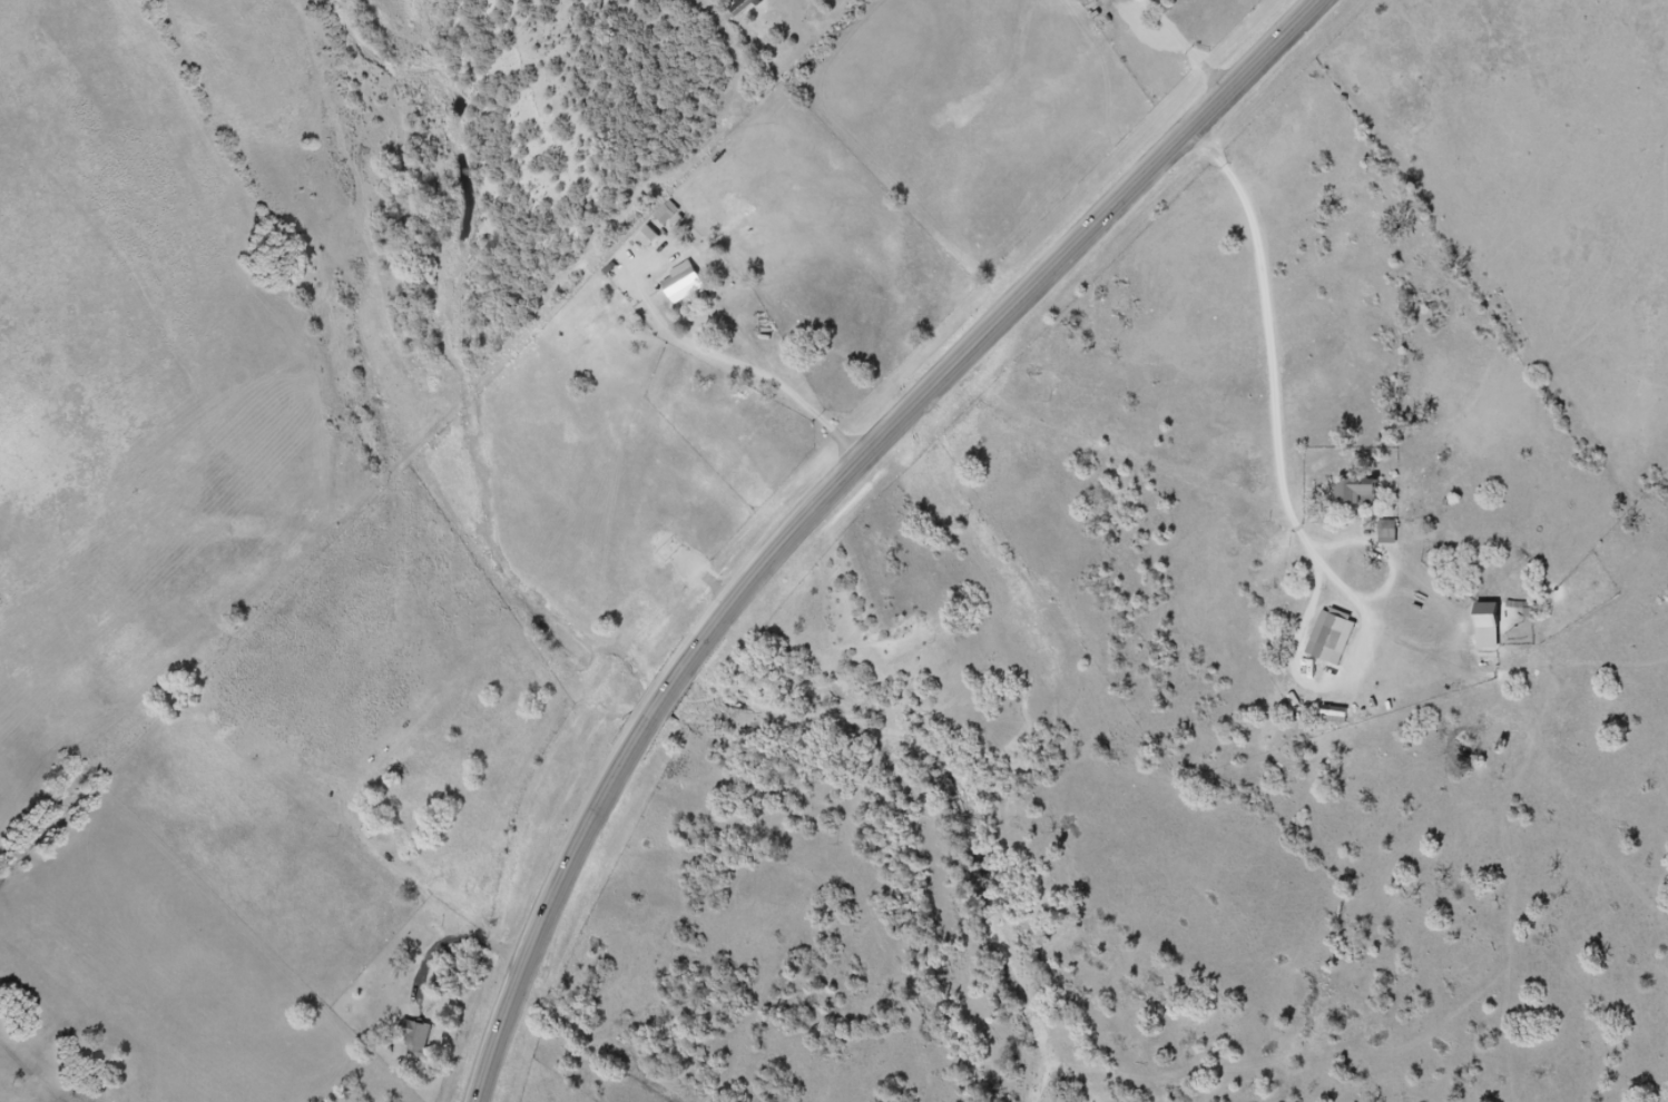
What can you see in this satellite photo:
building: (666, 213)
building: (677, 216)
building: (657, 242)
building: (691, 286)
road: (993, 334)
road: (750, 366)
building: (1364, 494)
road: (1293, 496)
building: (1396, 531)
building: (1387, 533)
road: (1392, 551)
building: (1497, 637)
building: (1340, 638)
road: (663, 705)
road: (553, 908)
building: (448, 962)
building: (410, 1031)

